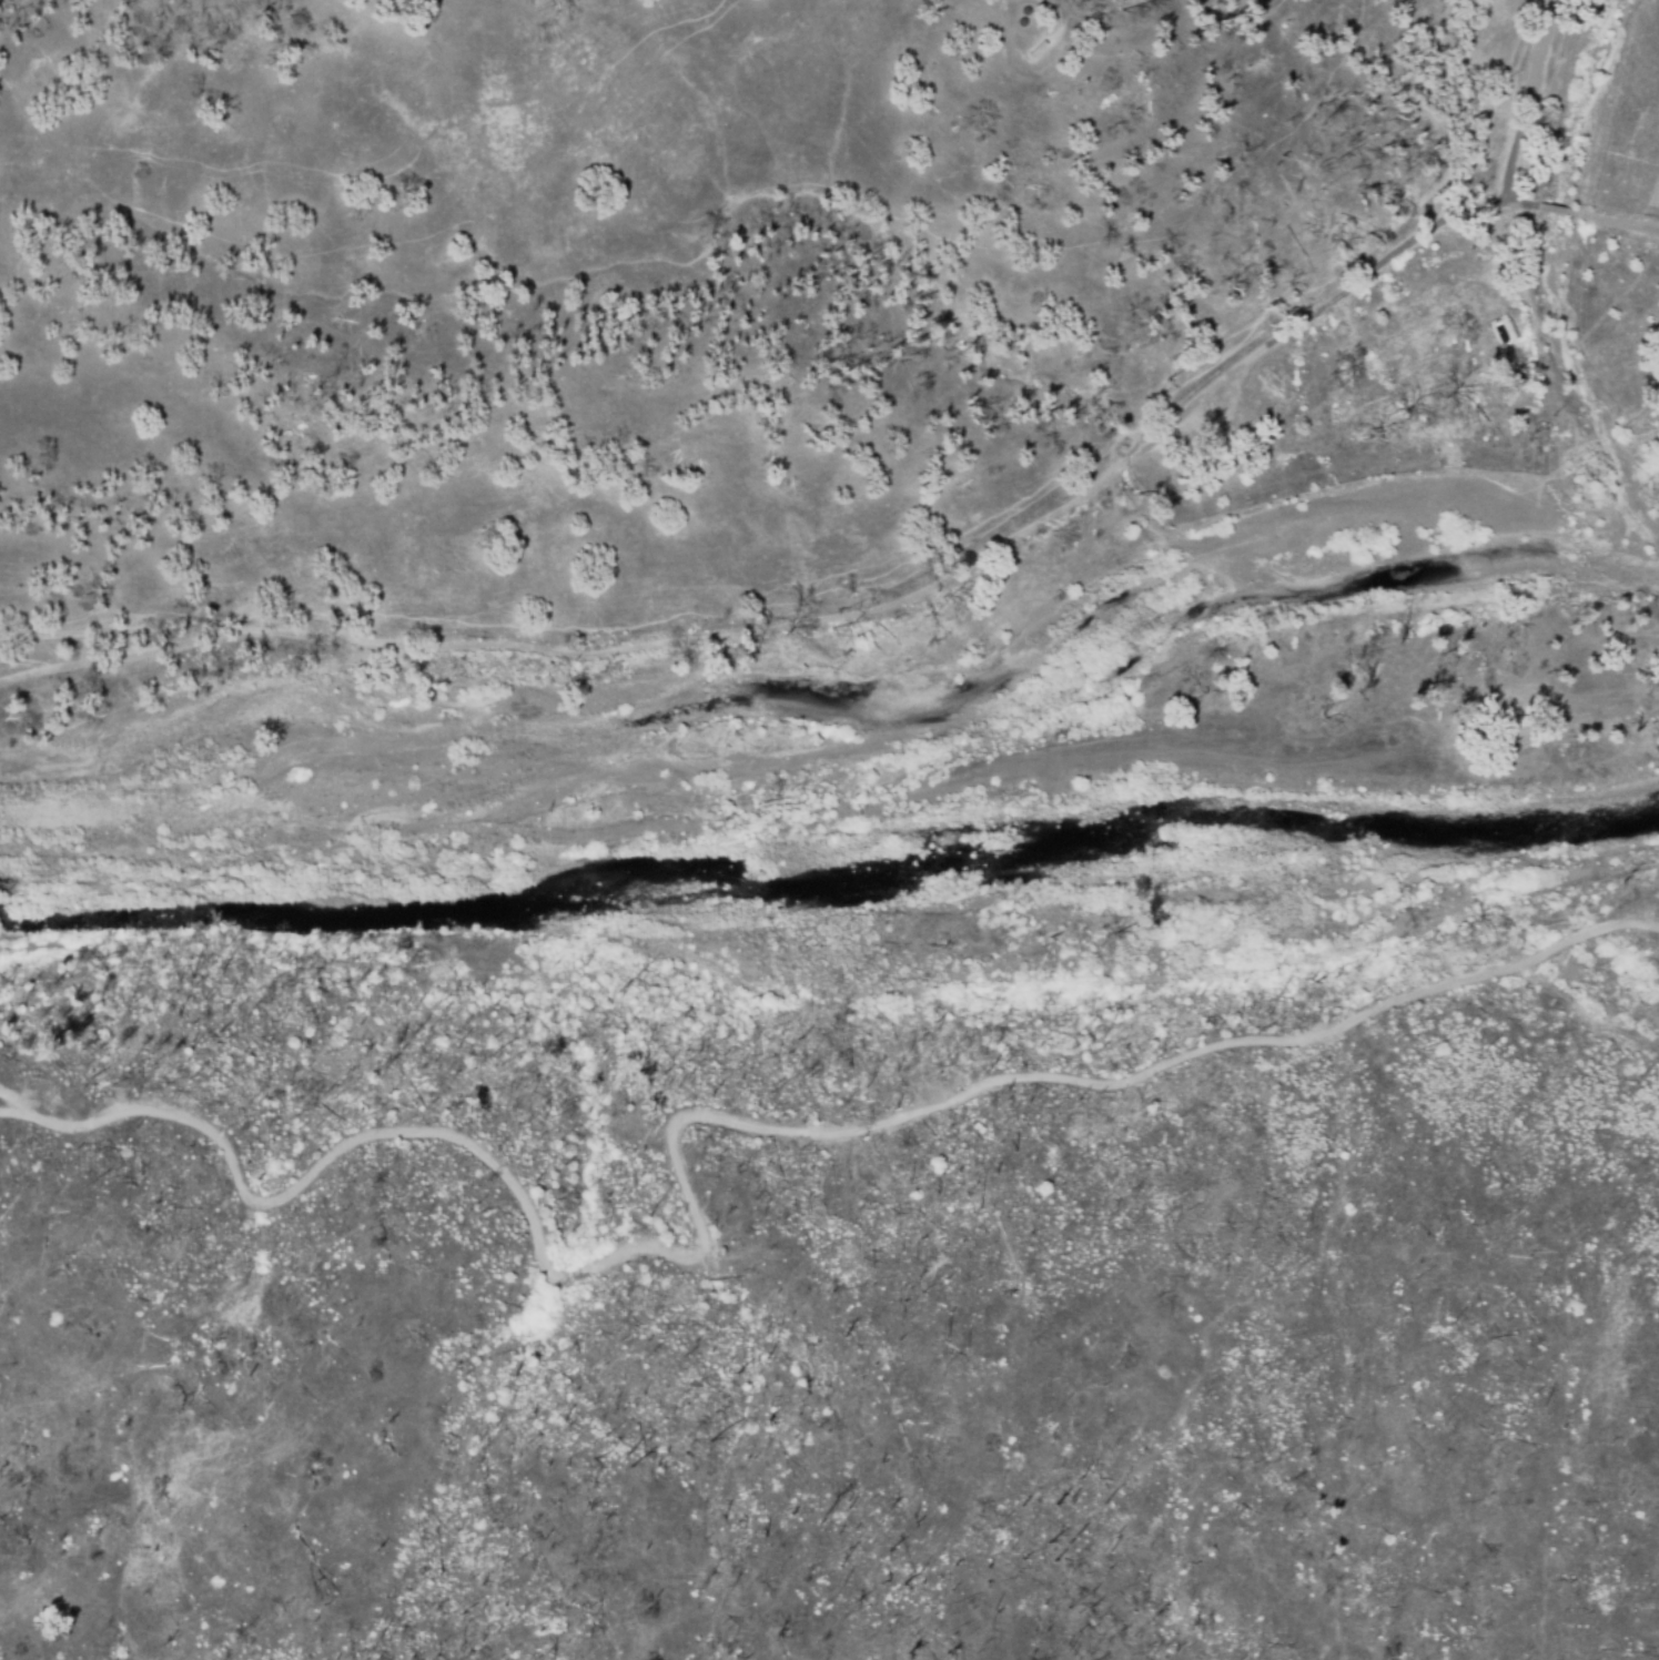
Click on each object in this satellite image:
road: (1529, 100)
road: (1558, 209)
road: (1626, 222)
building: (1427, 373)
building: (1372, 394)
road: (822, 616)
road: (741, 1127)

